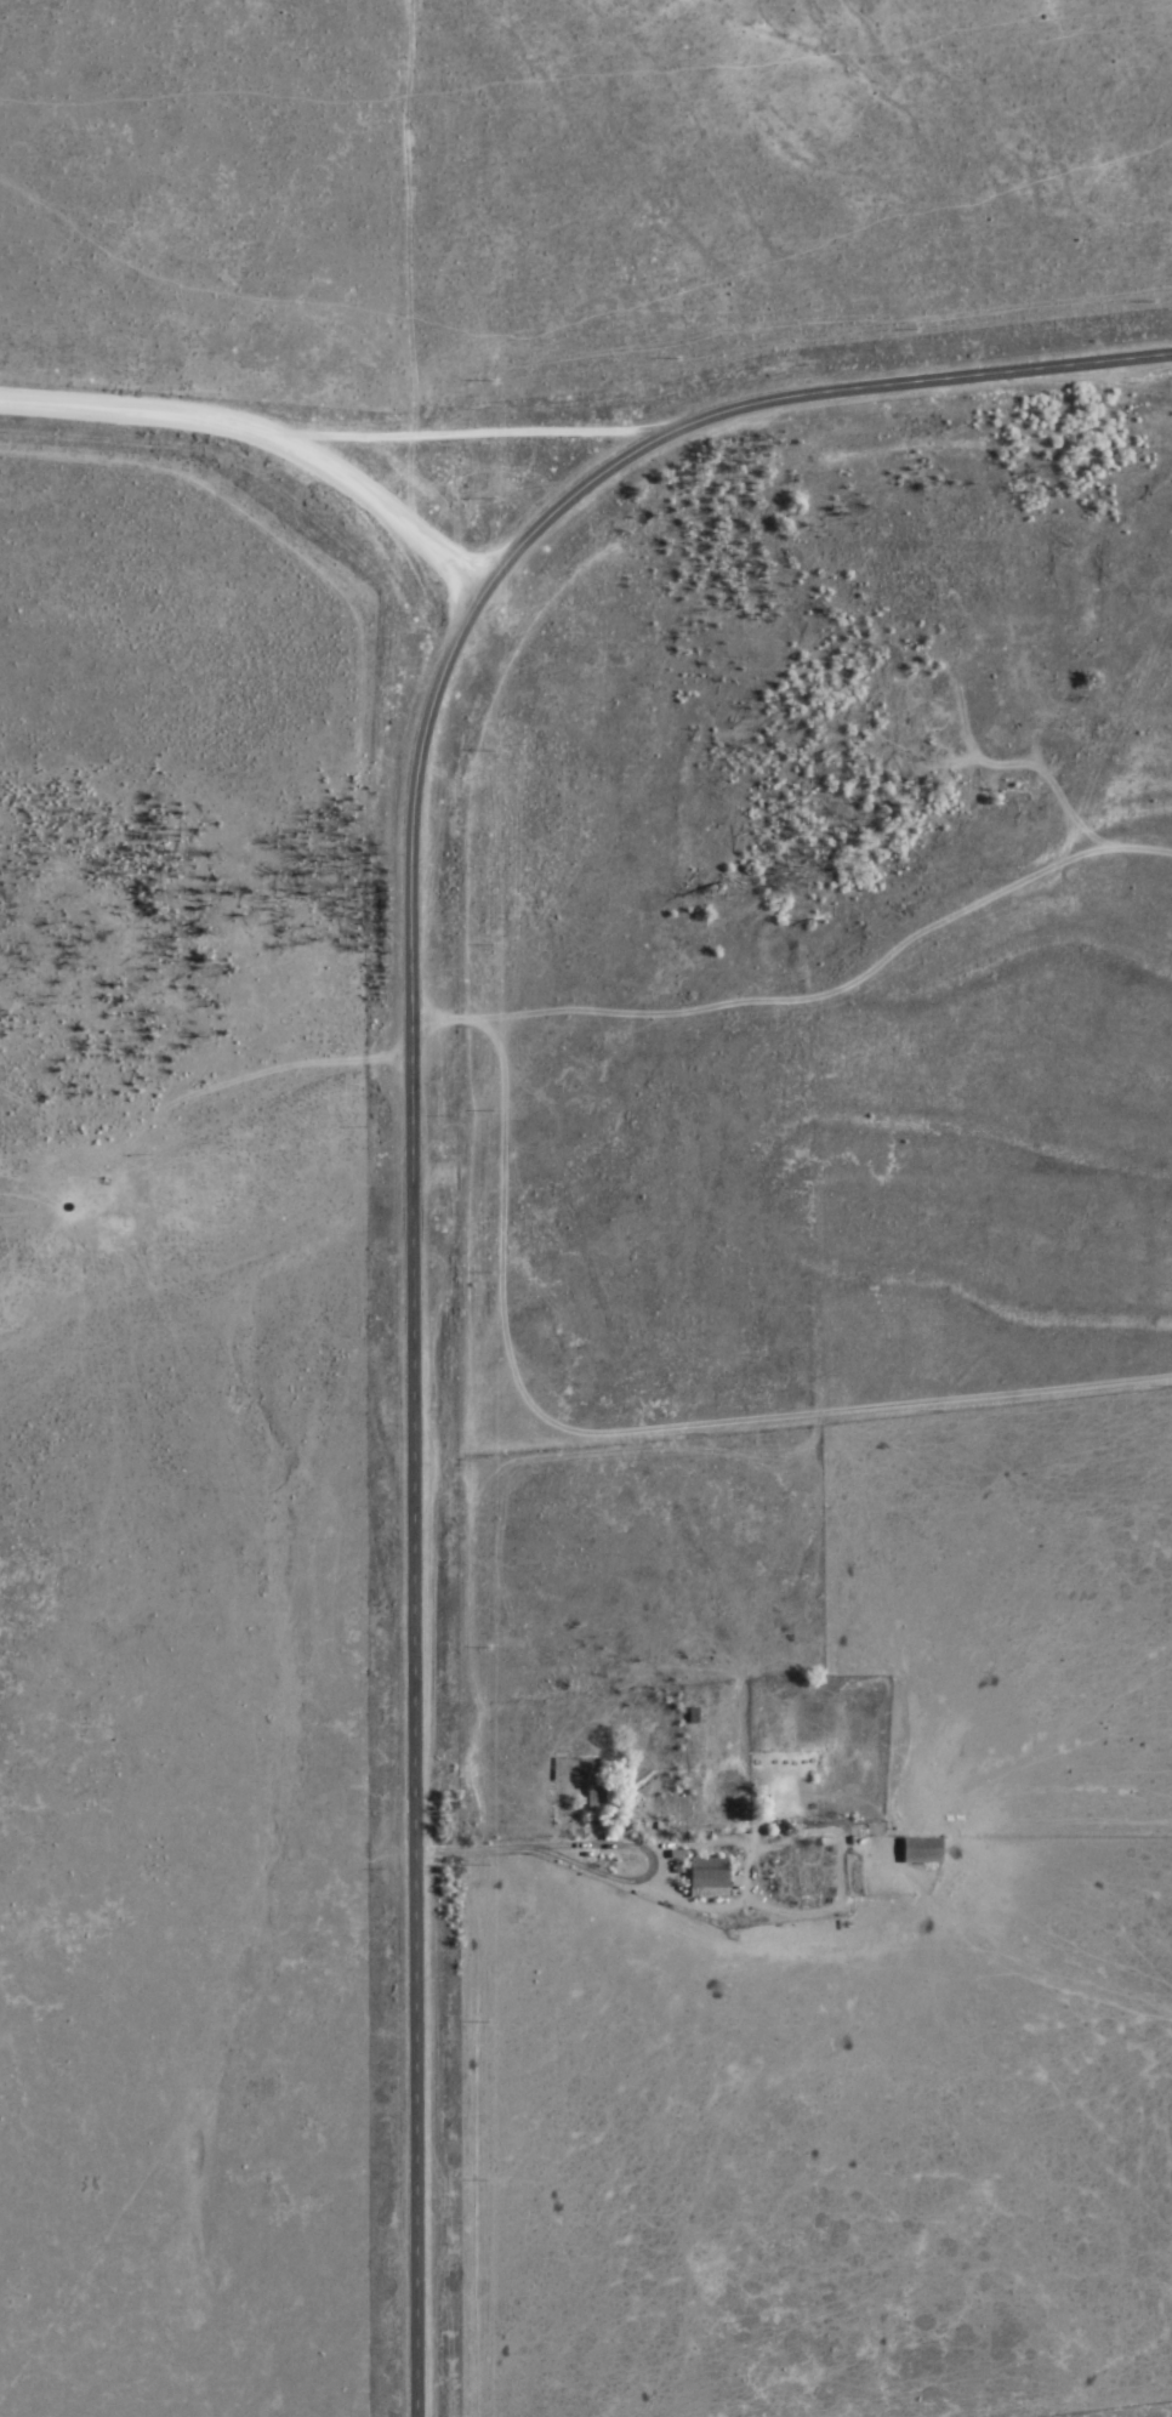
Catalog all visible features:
road: (494, 291)
road: (267, 439)
road: (207, 1099)
road: (420, 1125)
road: (489, 1858)
road: (628, 1888)

